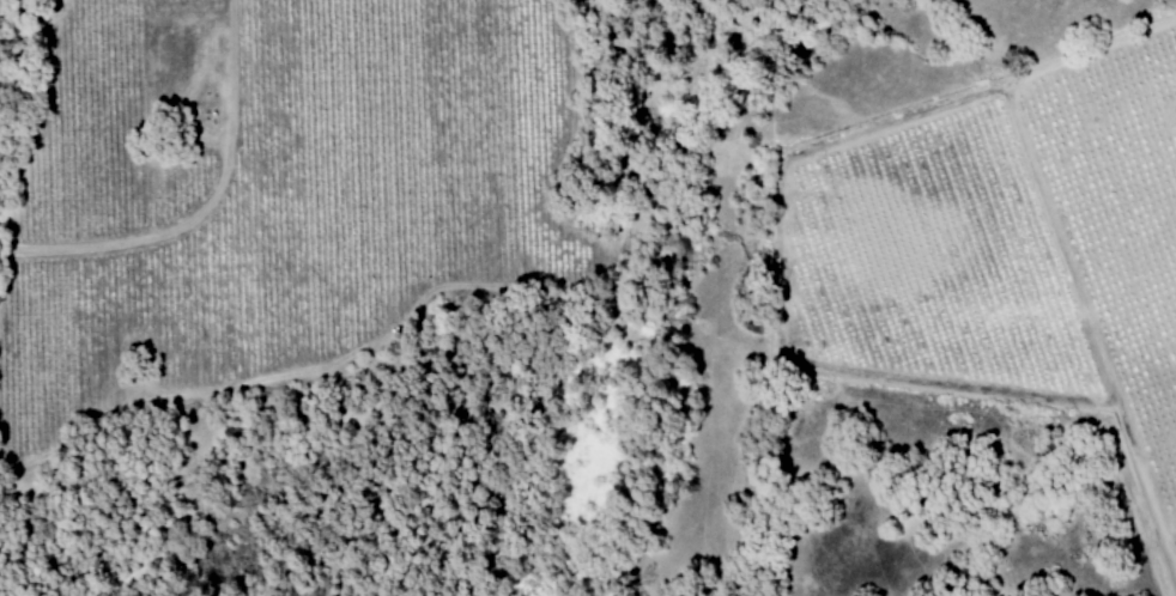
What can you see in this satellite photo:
crop: (266, 181)
road: (204, 207)

